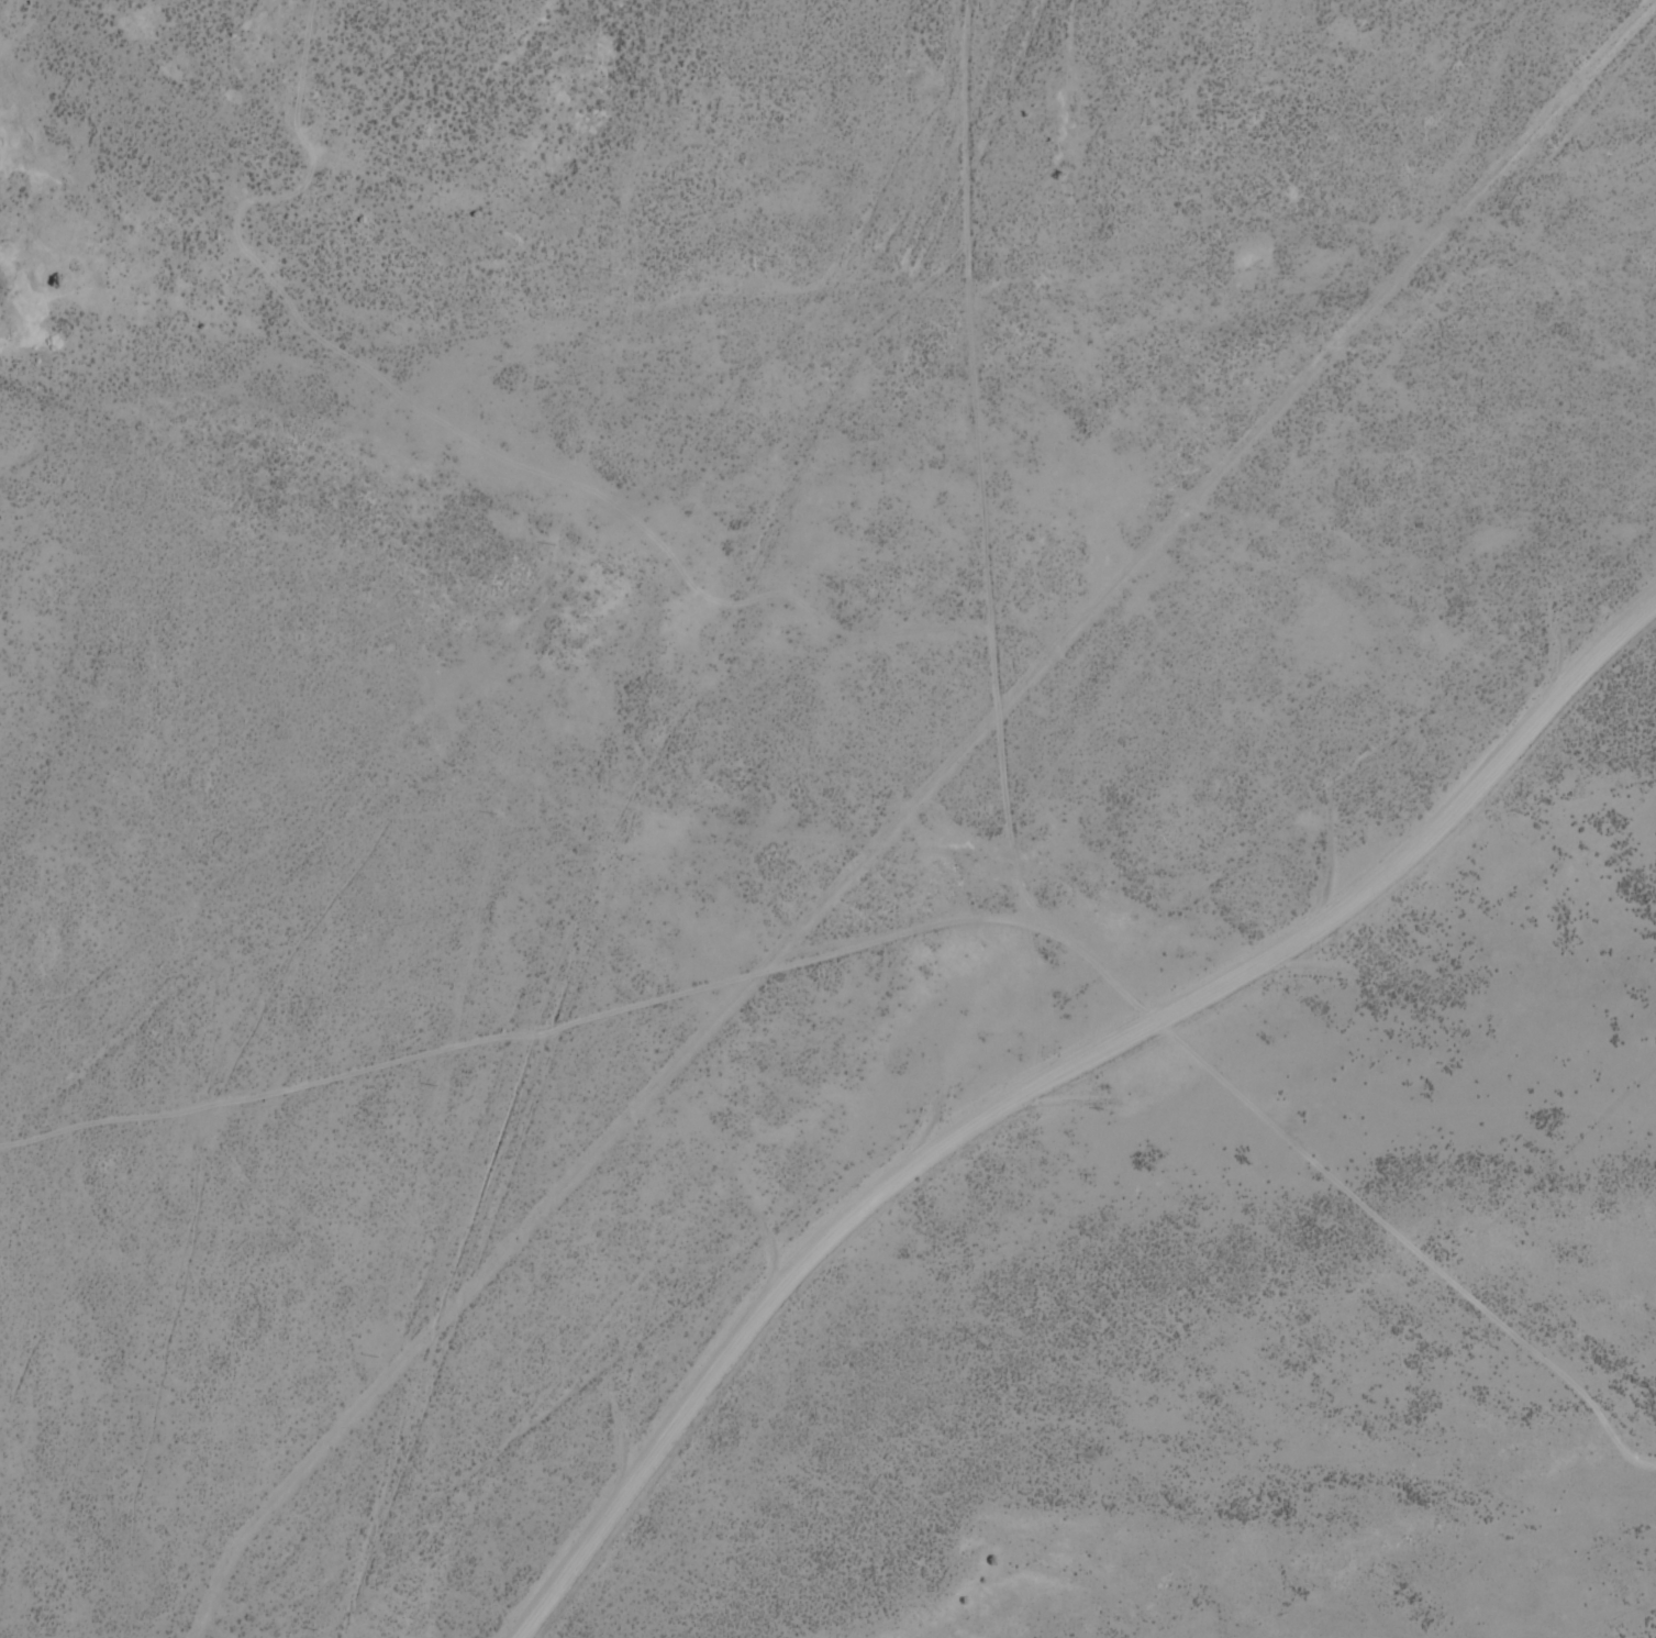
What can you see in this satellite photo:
road: (1098, 1116)

